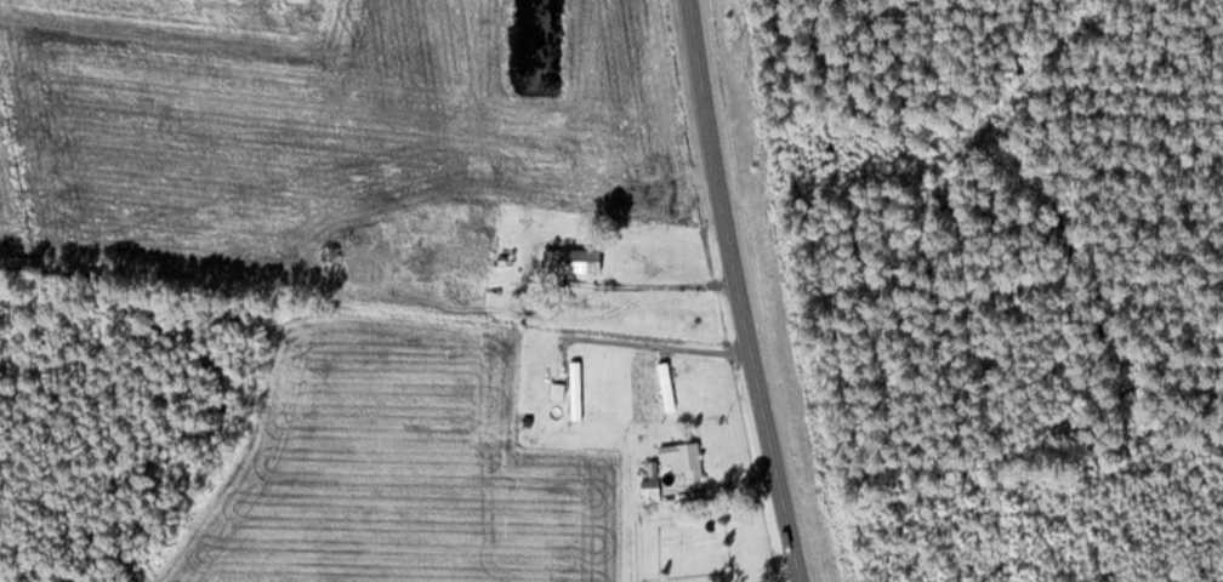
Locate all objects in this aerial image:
building: (483, 233)
building: (368, 244)
building: (573, 258)
road: (746, 291)
building: (667, 388)
building: (576, 390)
building: (683, 457)

